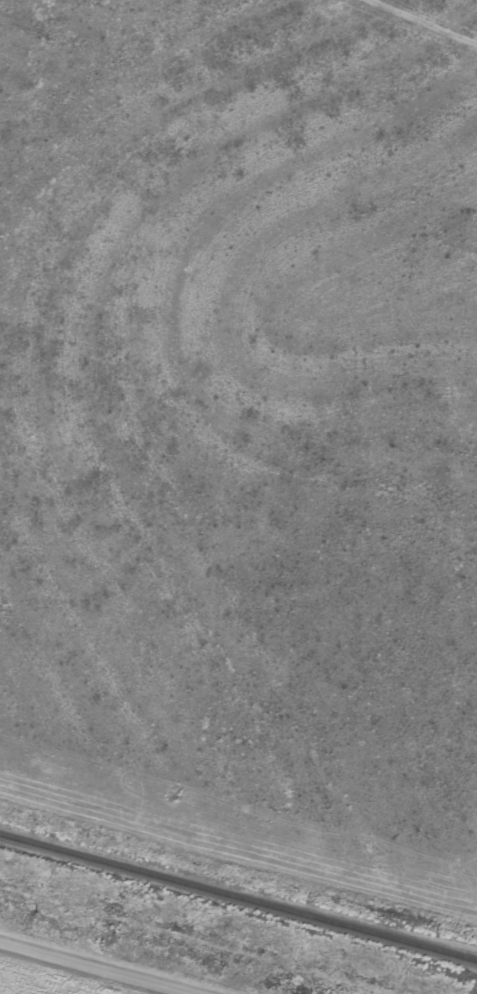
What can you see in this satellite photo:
railway: (238, 907)
road: (99, 967)
airport: (0, 993)

